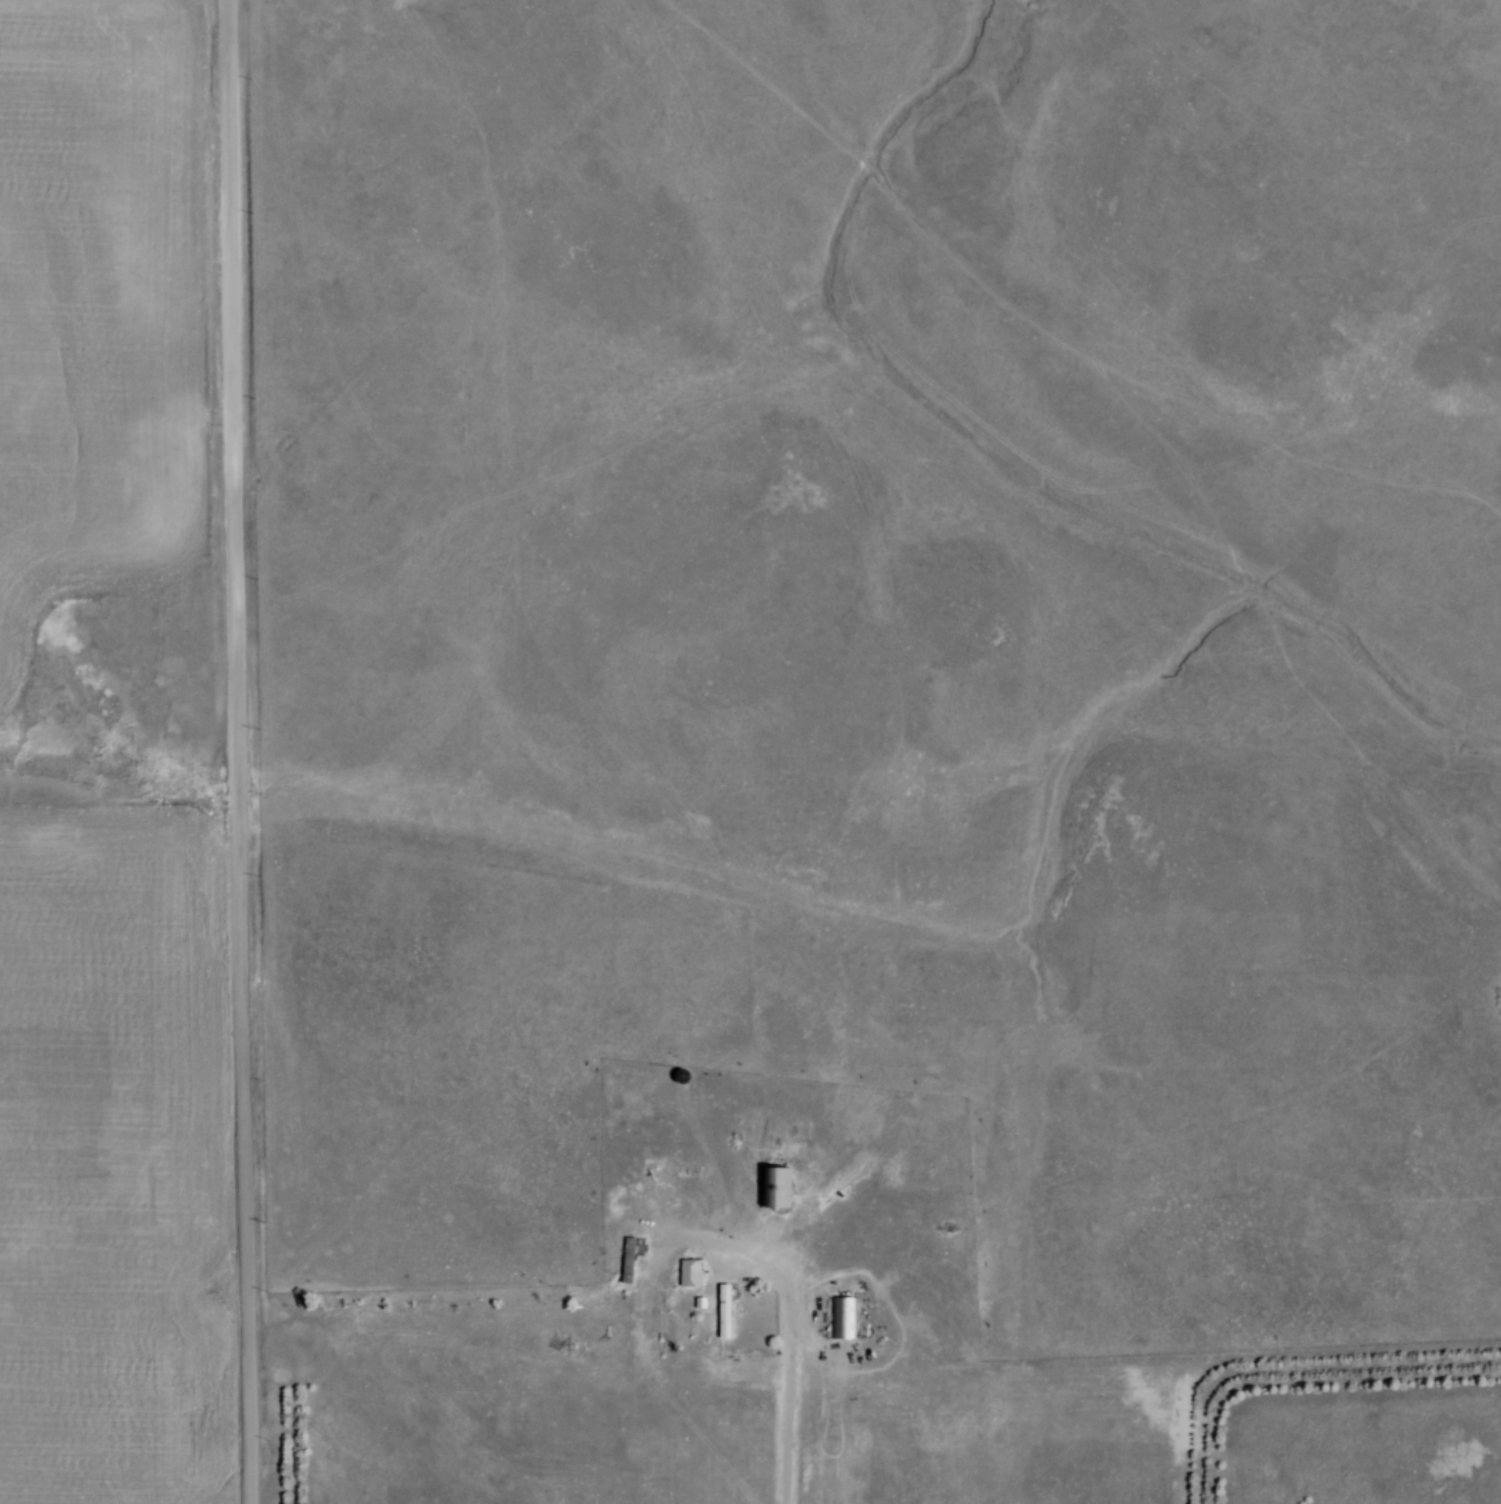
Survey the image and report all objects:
crop: (98, 298)
road: (237, 752)
crop: (113, 1155)
building: (783, 1185)
road: (726, 1239)
building: (632, 1258)
building: (695, 1271)
building: (730, 1310)
building: (847, 1316)
road: (787, 1387)

